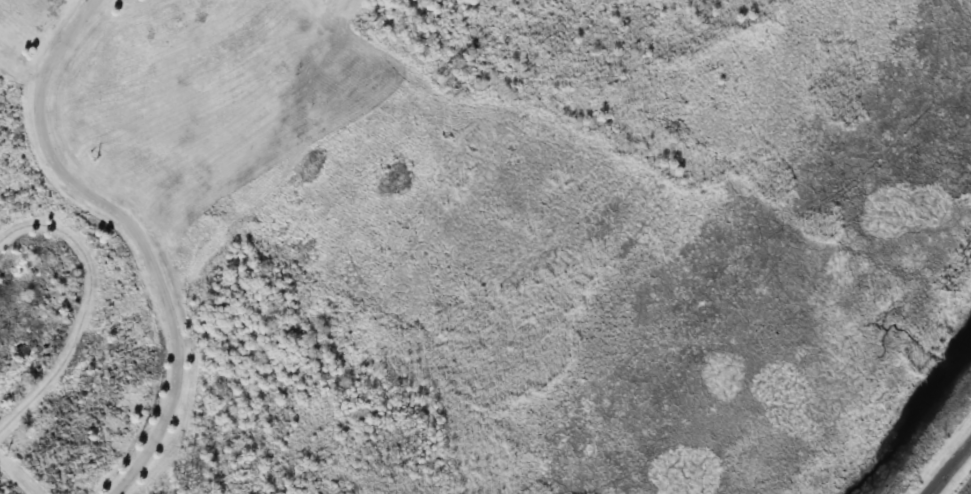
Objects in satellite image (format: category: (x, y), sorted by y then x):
building: (325, 0)
road: (950, 468)

